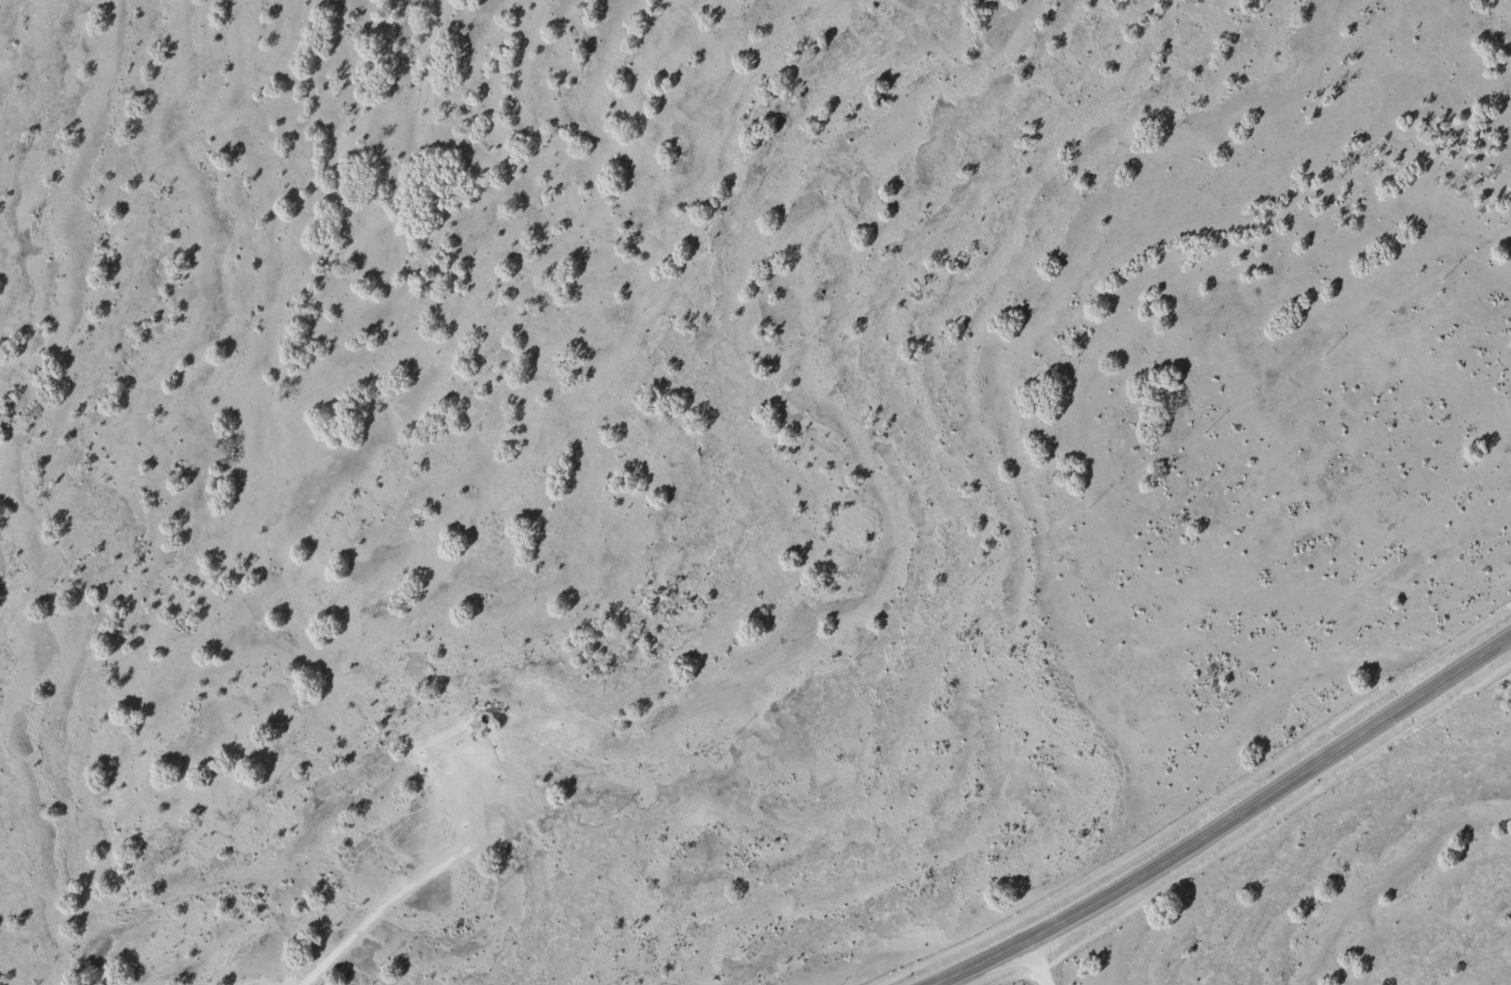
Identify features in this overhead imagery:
road: (1229, 826)

